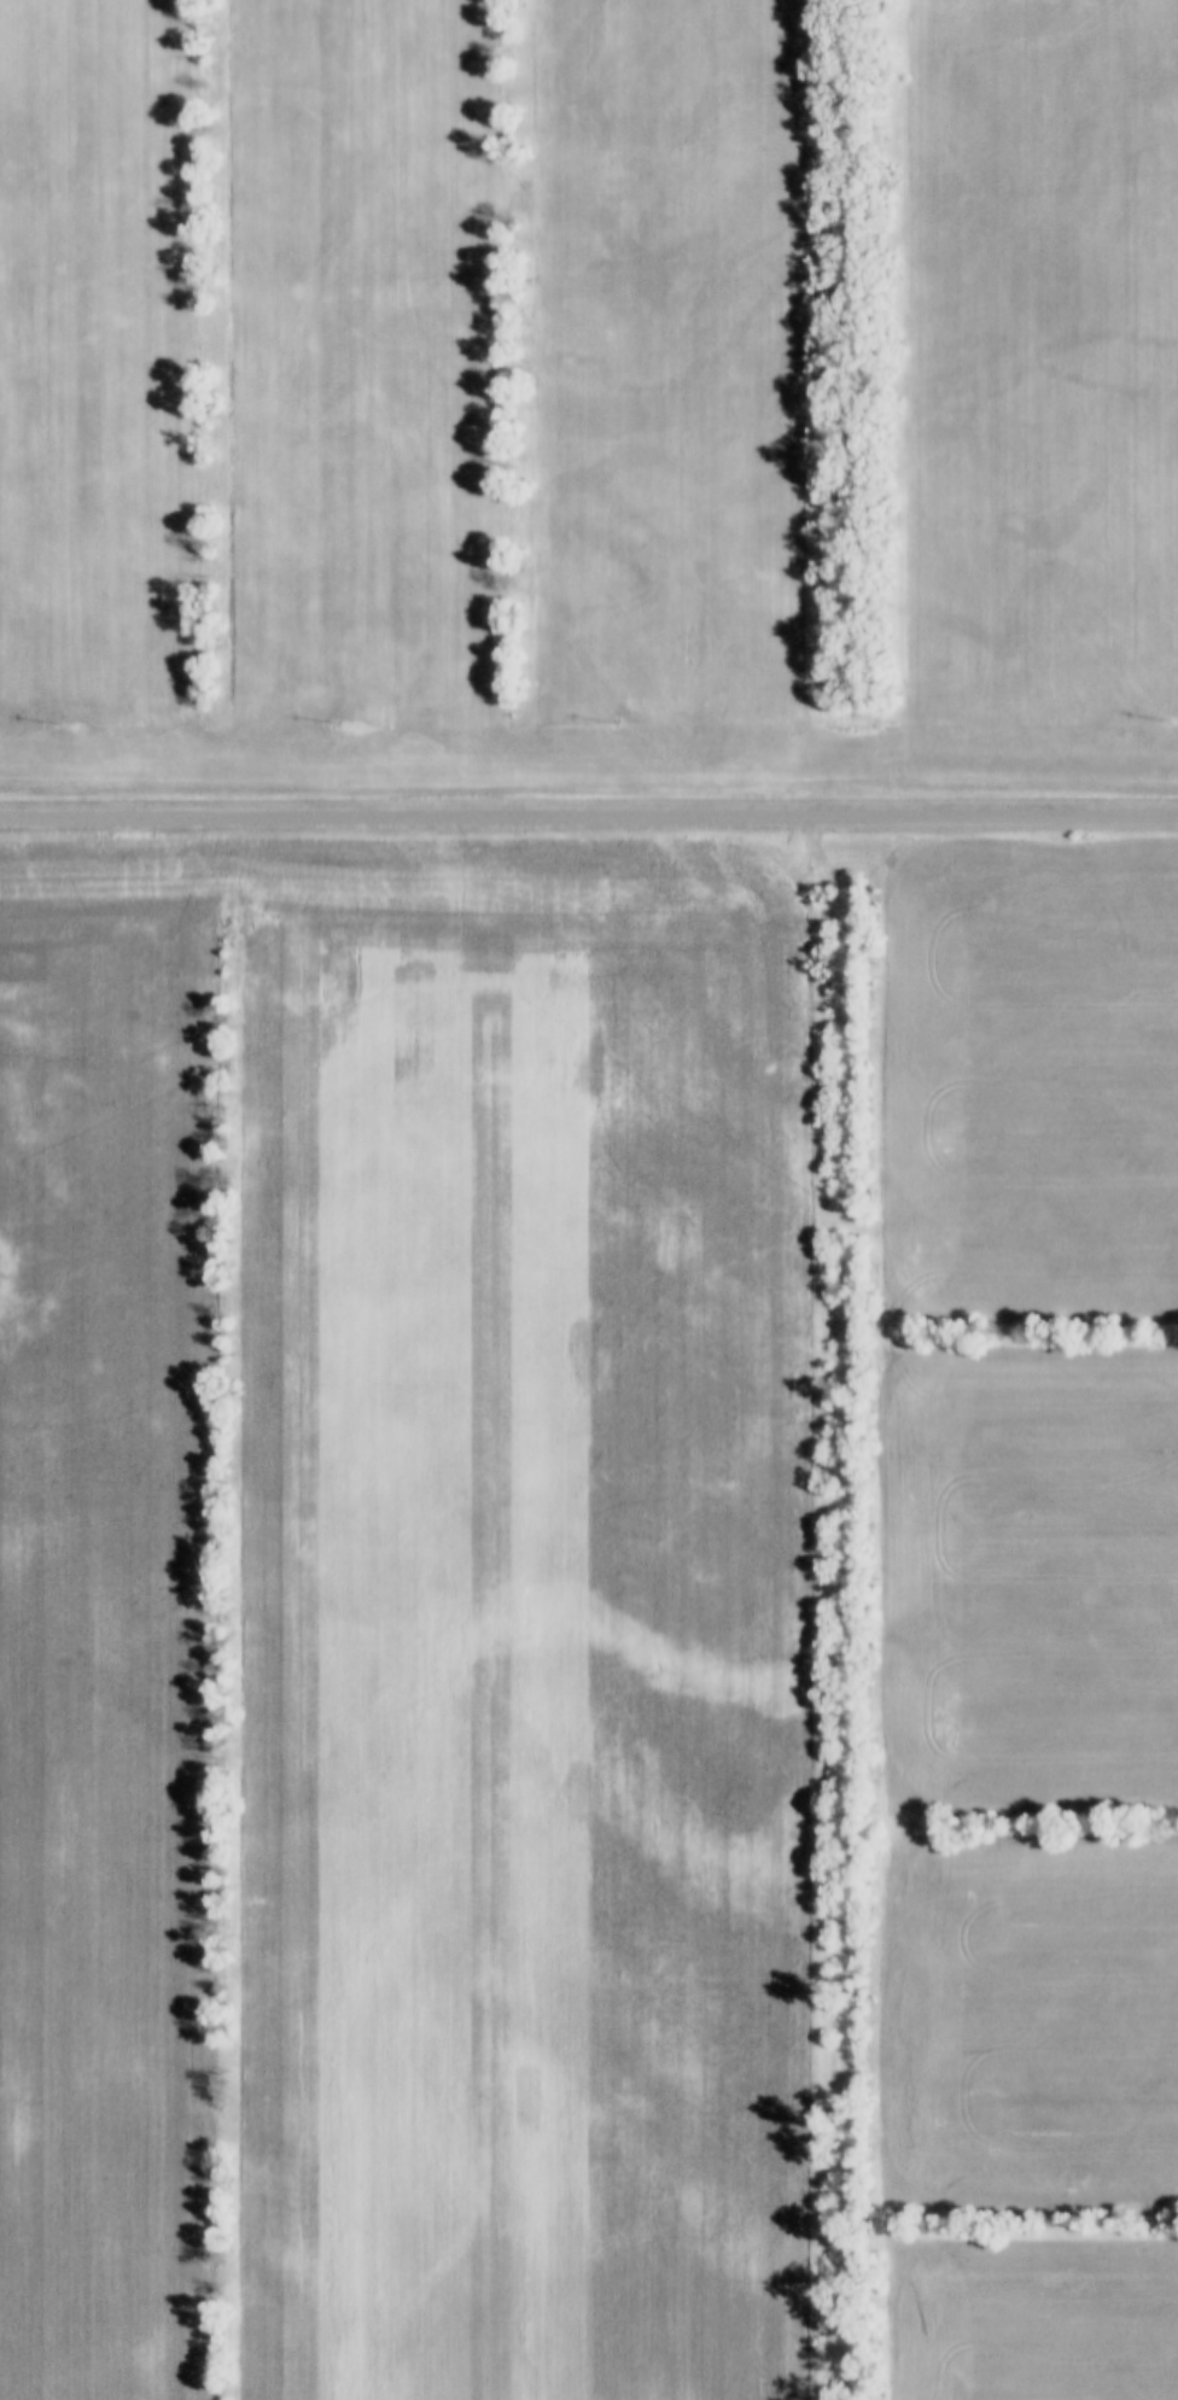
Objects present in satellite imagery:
road: (588, 819)

